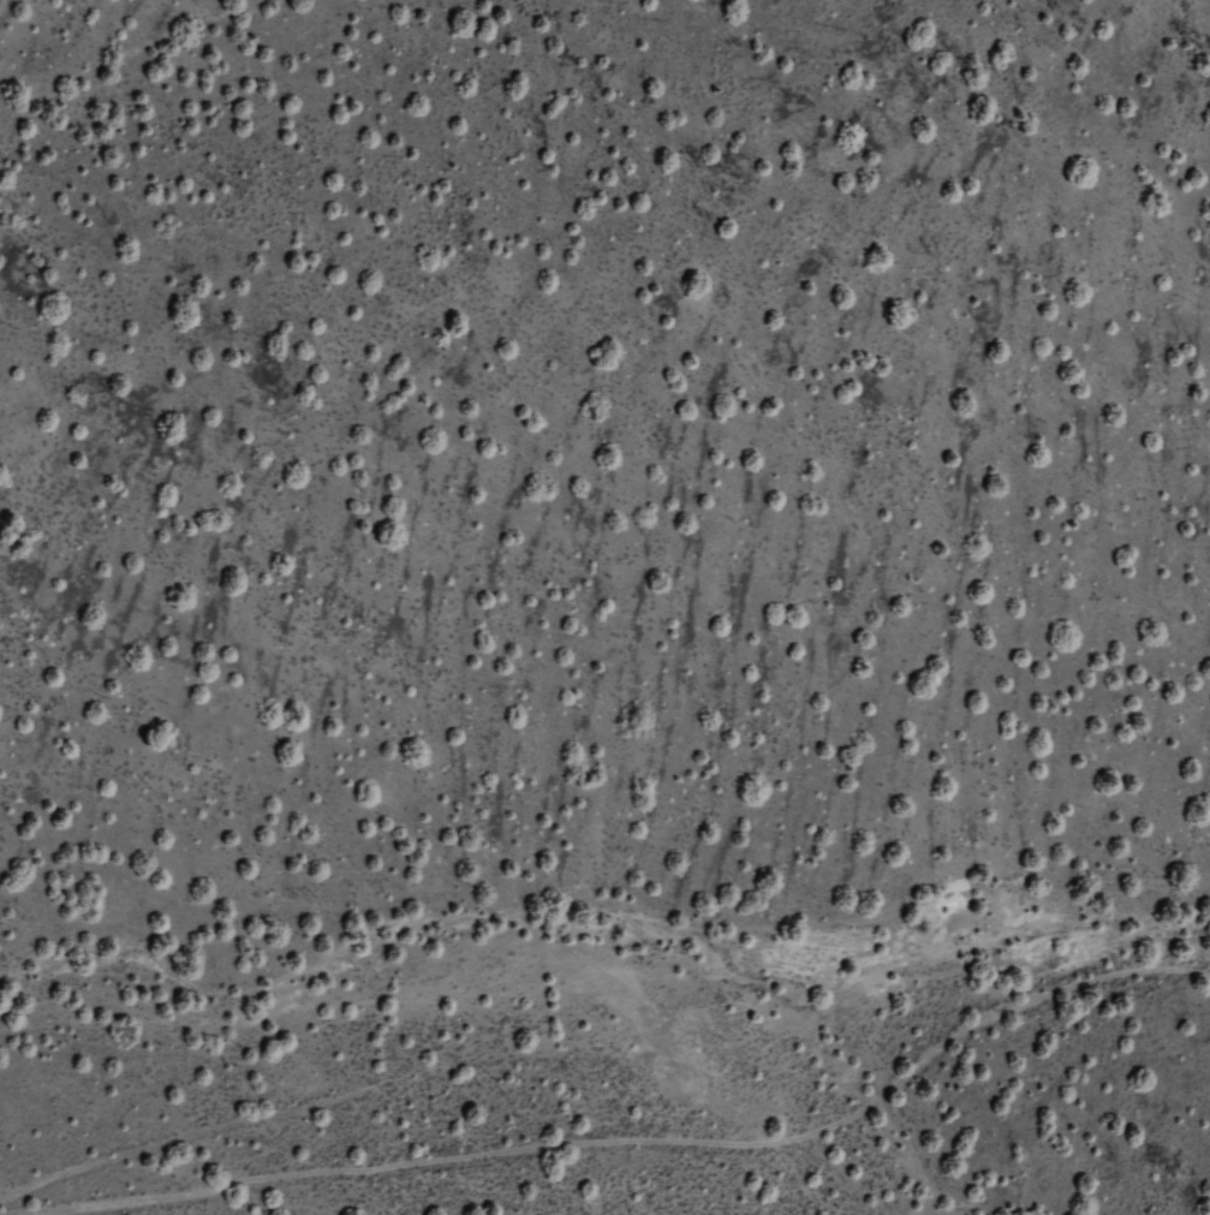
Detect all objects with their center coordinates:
road: (639, 1142)

